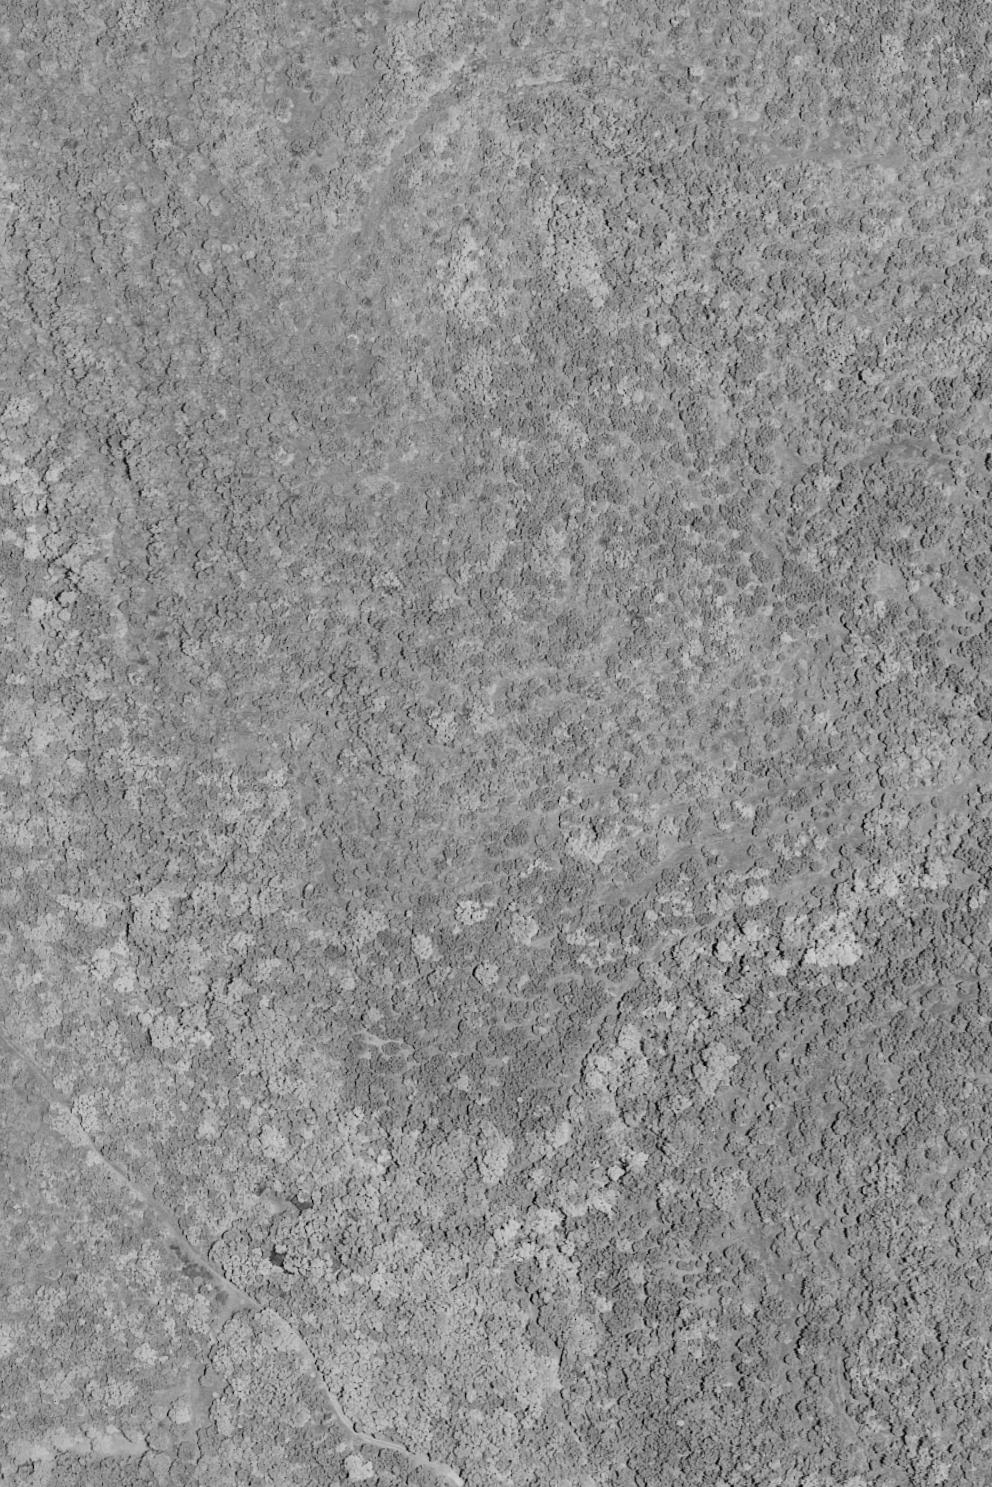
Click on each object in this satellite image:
road: (102, 1155)

